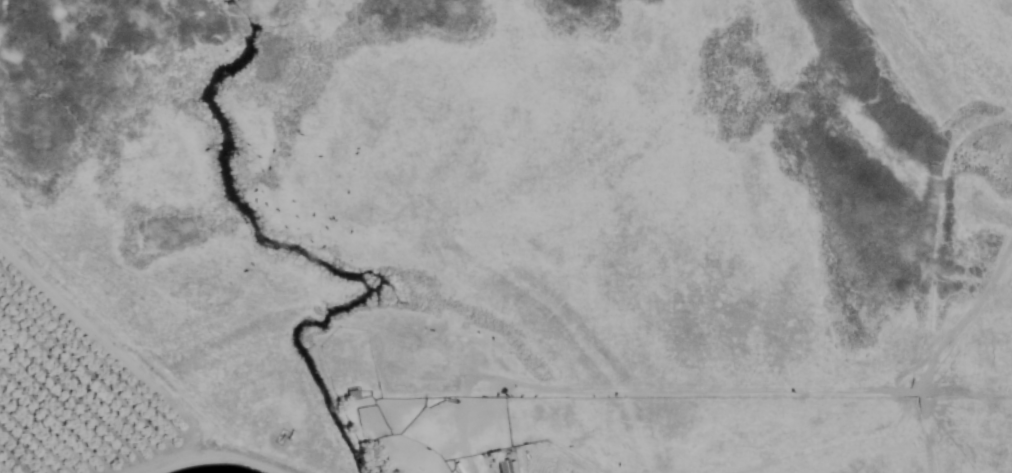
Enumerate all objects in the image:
crop: (83, 393)

